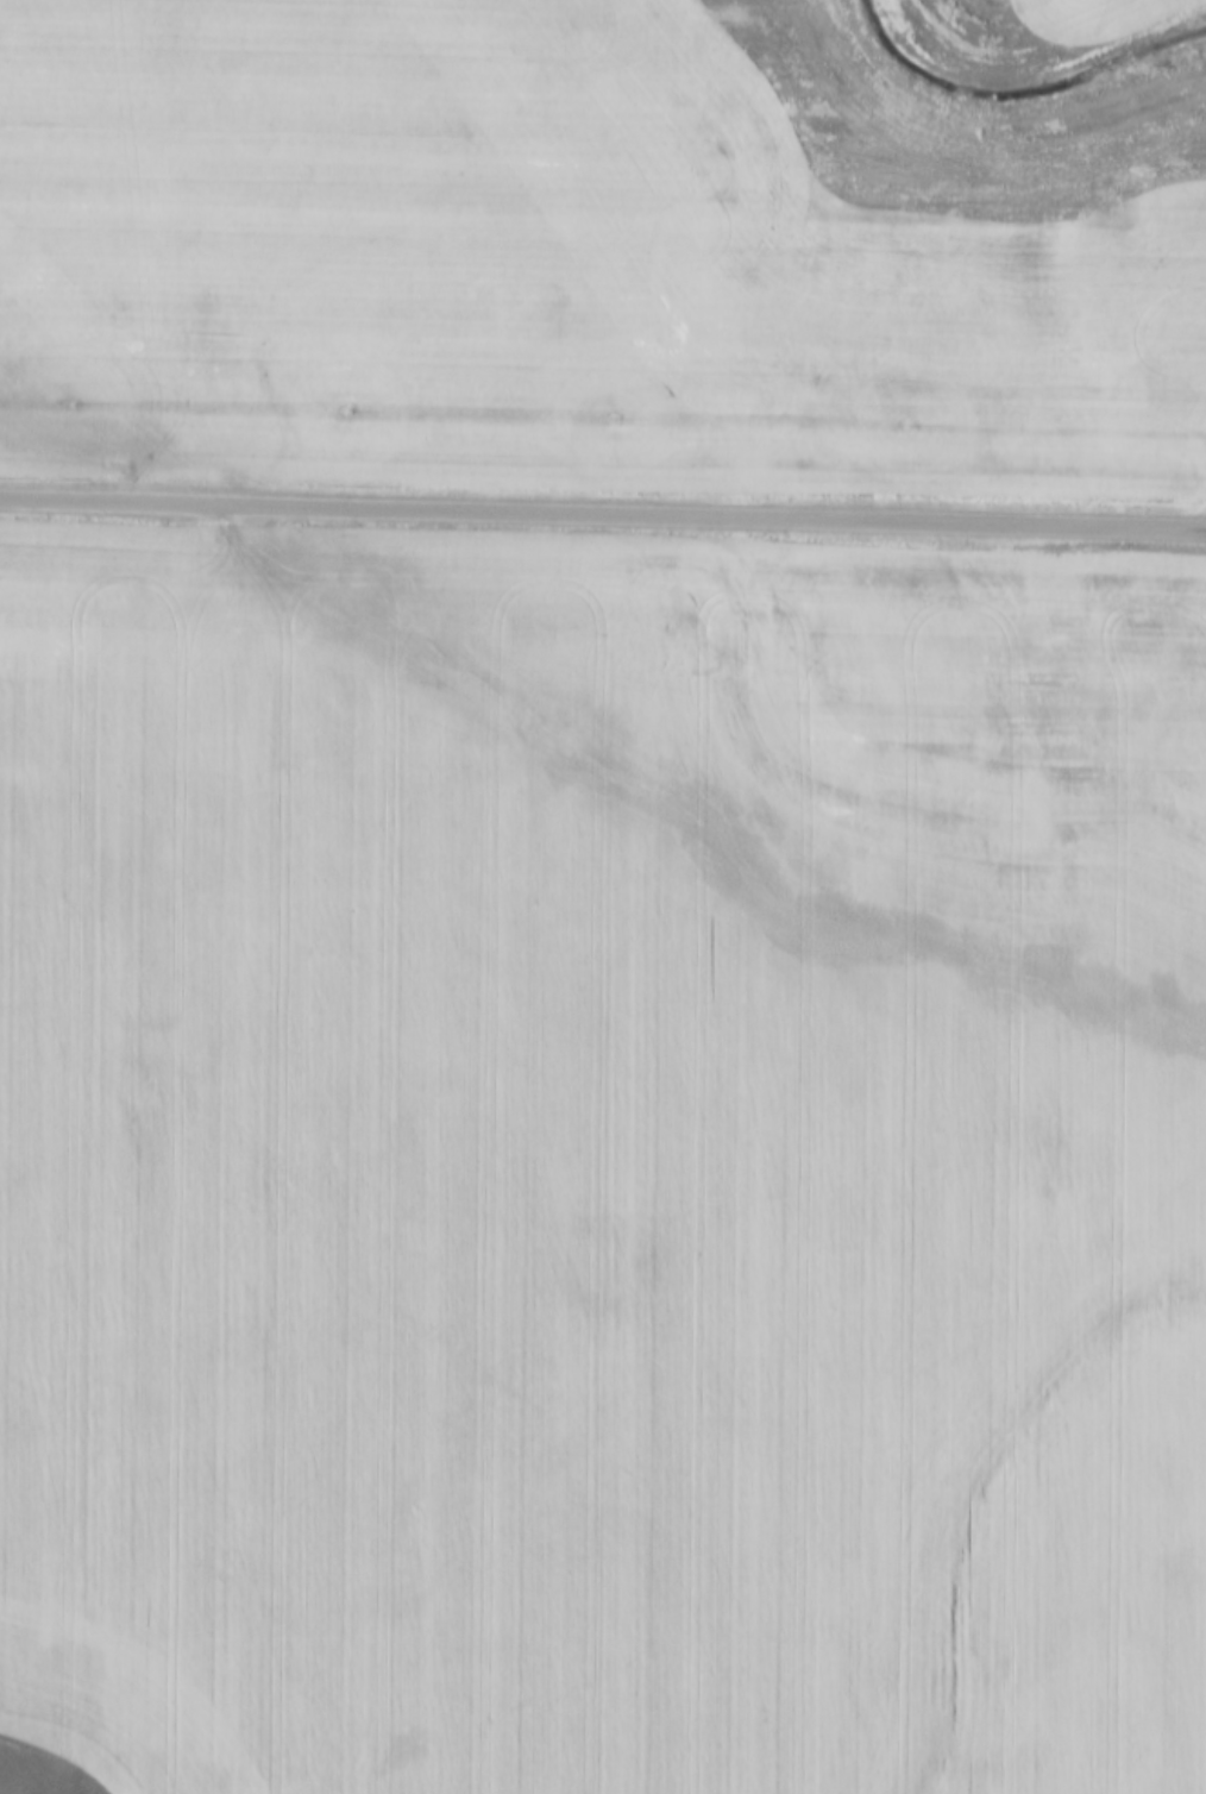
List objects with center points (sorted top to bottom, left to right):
road: (602, 509)

